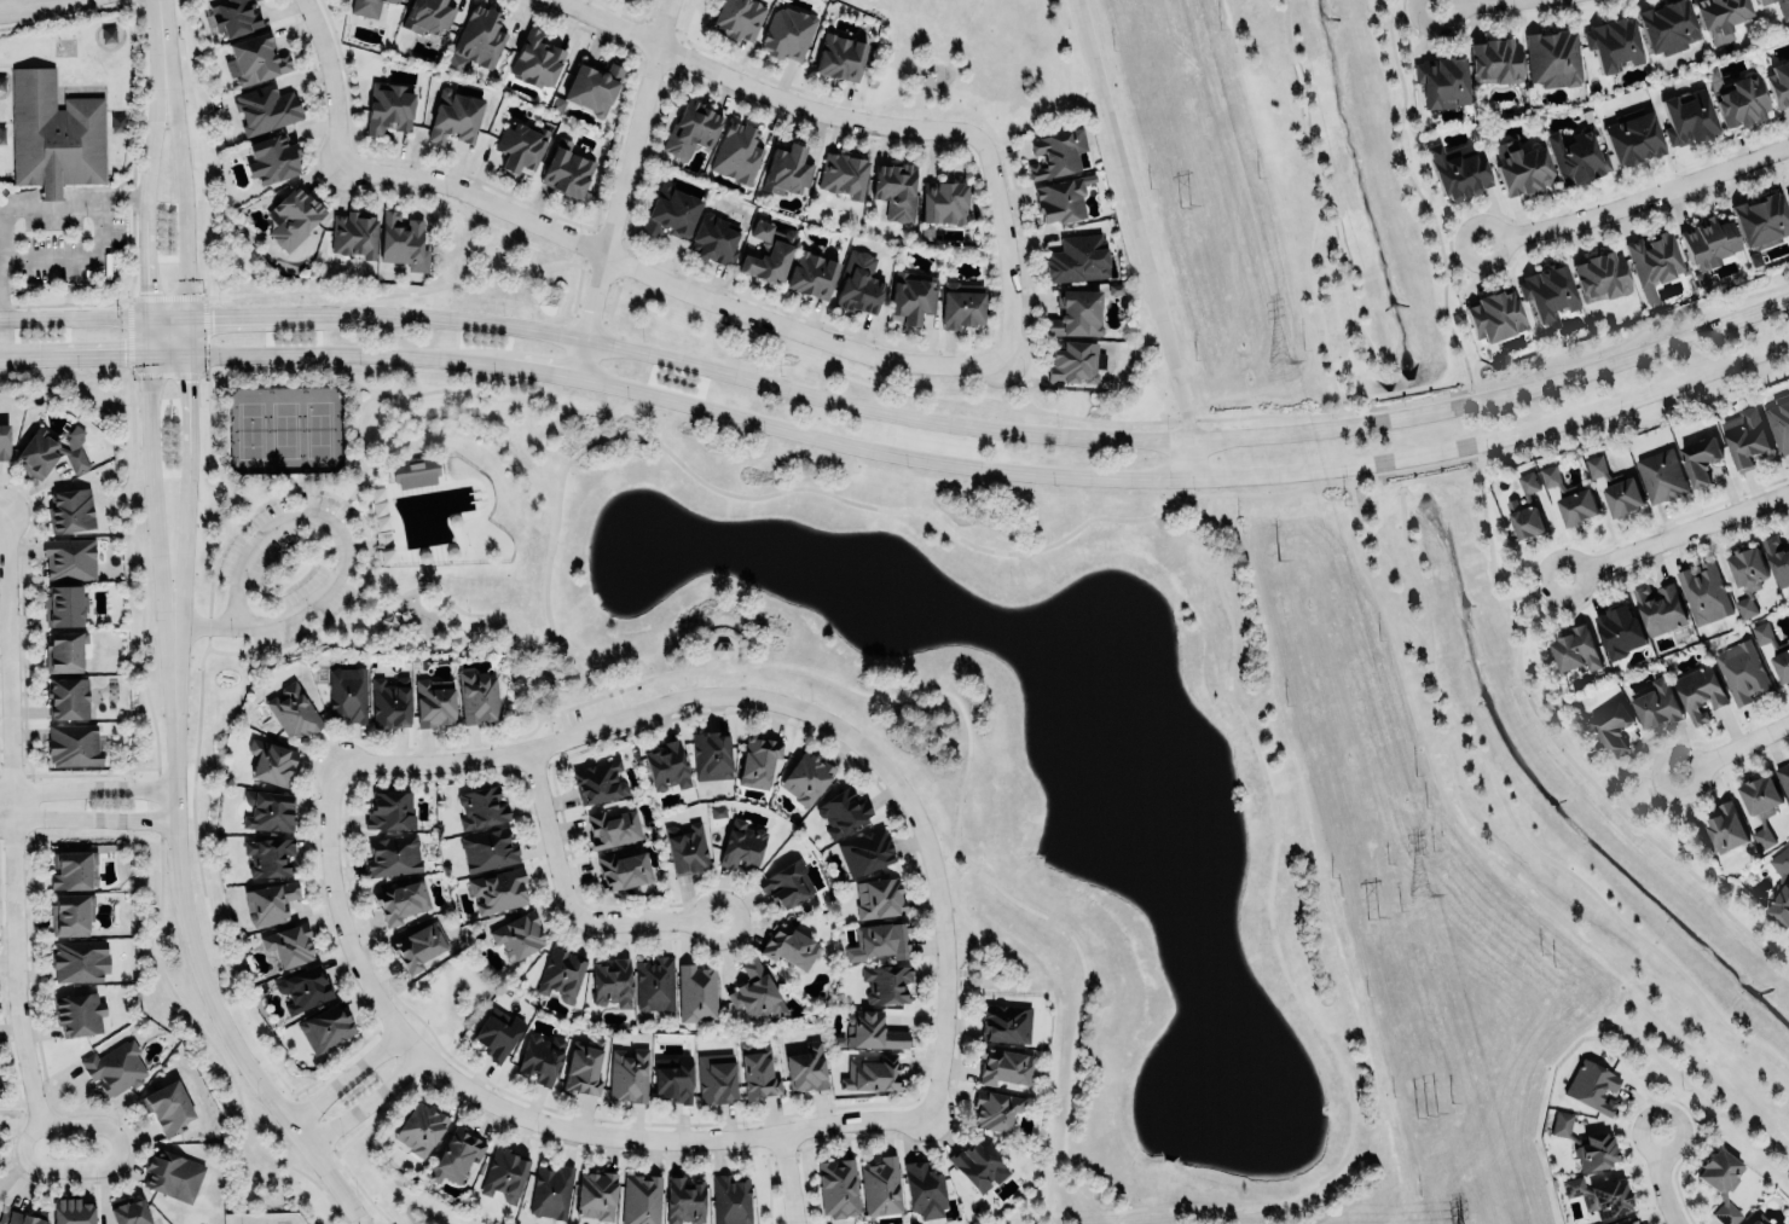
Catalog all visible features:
building: (394, 0)
building: (1765, 1)
road: (1463, 2)
road: (23, 4)
building: (366, 6)
building: (1783, 8)
road: (1409, 10)
building: (428, 14)
building: (235, 16)
building: (1720, 16)
building: (739, 18)
building: (1667, 25)
building: (787, 33)
road: (156, 36)
building: (476, 39)
building: (1614, 41)
building: (840, 54)
building: (1553, 56)
building: (256, 58)
building: (1495, 58)
building: (537, 59)
building: (1440, 77)
road: (330, 81)
building: (1779, 82)
building: (594, 85)
road: (757, 91)
building: (1737, 97)
building: (265, 108)
building: (389, 108)
building: (456, 117)
building: (1686, 117)
building: (691, 127)
building: (54, 133)
building: (1633, 134)
road: (152, 135)
building: (519, 146)
building: (737, 151)
building: (1056, 151)
building: (1576, 155)
building: (272, 157)
building: (1522, 167)
building: (567, 168)
building: (788, 168)
building: (1458, 170)
building: (843, 174)
road: (619, 187)
building: (894, 190)
building: (1787, 192)
road: (180, 193)
road: (1415, 195)
building: (1063, 197)
road: (1327, 197)
building: (943, 199)
road: (1638, 201)
power tower: (1182, 203)
road: (62, 205)
building: (671, 209)
building: (294, 216)
building: (1761, 217)
road: (1135, 221)
building: (354, 232)
building: (714, 237)
building: (404, 240)
building: (1707, 245)
road: (1003, 248)
road: (1460, 249)
building: (768, 253)
building: (1078, 257)
building: (1654, 261)
building: (812, 272)
building: (1600, 275)
road: (145, 278)
building: (858, 282)
road: (668, 283)
traffic signals: (146, 289)
building: (1547, 290)
building: (911, 297)
road: (1313, 298)
building: (961, 302)
building: (1077, 313)
building: (1495, 313)
road: (236, 317)
road: (73, 318)
traffic signals: (213, 318)
road: (324, 355)
road: (92, 359)
traffic signals: (122, 359)
power tower: (1278, 359)
building: (1075, 360)
road: (520, 367)
road: (186, 379)
traffic signals: (186, 381)
road: (1009, 383)
road: (353, 391)
road: (1021, 394)
road: (403, 395)
road: (1192, 419)
building: (1779, 420)
park: (284, 428)
park: (319, 428)
park: (250, 429)
road: (1061, 436)
building: (4, 441)
building: (1744, 441)
road: (207, 443)
road: (354, 446)
building: (50, 449)
road: (661, 451)
building: (1700, 458)
road: (374, 460)
road: (1188, 460)
building: (415, 472)
building: (1661, 474)
road: (283, 476)
road: (1186, 478)
building: (1616, 488)
road: (151, 494)
building: (1569, 497)
road: (1206, 503)
road: (4, 507)
road: (349, 507)
building: (1525, 507)
building: (71, 509)
road: (228, 515)
road: (1675, 534)
road: (181, 535)
building: (1788, 538)
road: (301, 541)
road: (351, 545)
road: (340, 550)
park: (1385, 553)
power tower: (1275, 556)
building: (70, 557)
building: (1777, 558)
road: (1380, 563)
building: (1748, 568)
road: (1530, 590)
building: (1703, 592)
road: (358, 597)
building: (64, 604)
road: (448, 604)
building: (1660, 607)
building: (1744, 607)
building: (1619, 630)
building: (1762, 633)
building: (1788, 639)
building: (1576, 648)
building: (64, 650)
road: (717, 661)
building: (1782, 665)
building: (1742, 671)
building: (1700, 691)
building: (348, 692)
building: (68, 696)
building: (477, 696)
building: (389, 702)
building: (1657, 702)
building: (434, 703)
road: (798, 708)
building: (293, 710)
building: (1613, 726)
building: (73, 743)
road: (1733, 746)
building: (711, 755)
road: (1562, 755)
building: (758, 759)
building: (271, 761)
building: (667, 765)
building: (806, 777)
building: (1783, 778)
building: (598, 781)
road: (92, 788)
road: (1650, 795)
road: (7, 801)
building: (1761, 805)
building: (481, 806)
building: (268, 808)
building: (389, 808)
building: (843, 811)
road: (91, 817)
building: (1726, 826)
building: (613, 828)
road: (1515, 831)
building: (742, 845)
building: (488, 848)
building: (688, 848)
building: (865, 851)
building: (268, 854)
building: (393, 855)
building: (71, 868)
building: (623, 869)
road: (957, 876)
building: (786, 882)
building: (498, 889)
power tower: (1414, 893)
building: (879, 897)
building: (268, 900)
building: (400, 901)
road: (201, 904)
road: (566, 904)
building: (1781, 904)
building: (71, 912)
power tower: (1372, 917)
road: (346, 918)
road: (18, 929)
building: (517, 935)
building: (879, 941)
building: (288, 944)
building: (418, 946)
building: (791, 946)
road: (191, 950)
road: (1270, 951)
building: (80, 959)
building: (560, 971)
building: (612, 981)
building: (655, 982)
building: (886, 982)
building: (302, 987)
building: (696, 991)
building: (757, 992)
building: (80, 1011)
road: (1073, 1016)
building: (1004, 1021)
building: (324, 1027)
building: (872, 1029)
building: (498, 1033)
building: (540, 1056)
building: (116, 1066)
building: (584, 1066)
building: (1004, 1066)
building: (805, 1068)
building: (757, 1071)
building: (872, 1073)
building: (629, 1074)
road: (345, 1075)
building: (673, 1078)
building: (716, 1078)
building: (1592, 1085)
road: (365, 1101)
building: (167, 1106)
building: (995, 1109)
power tower: (1426, 1116)
building: (1561, 1123)
building: (421, 1127)
road: (667, 1138)
building: (1594, 1150)
building: (455, 1155)
building: (975, 1164)
building: (504, 1172)
building: (173, 1174)
road: (1658, 1178)
road: (785, 1181)
building: (1721, 1182)
building: (881, 1185)
building: (838, 1187)
building: (551, 1190)
building: (924, 1190)
building: (596, 1195)
building: (1599, 1195)
building: (641, 1199)
building: (730, 1199)
building: (684, 1200)
building: (73, 1211)
building: (129, 1212)
road: (1105, 1217)
building: (18, 1218)
building: (1625, 1220)
building: (1753, 1222)
building: (1778, 1223)

